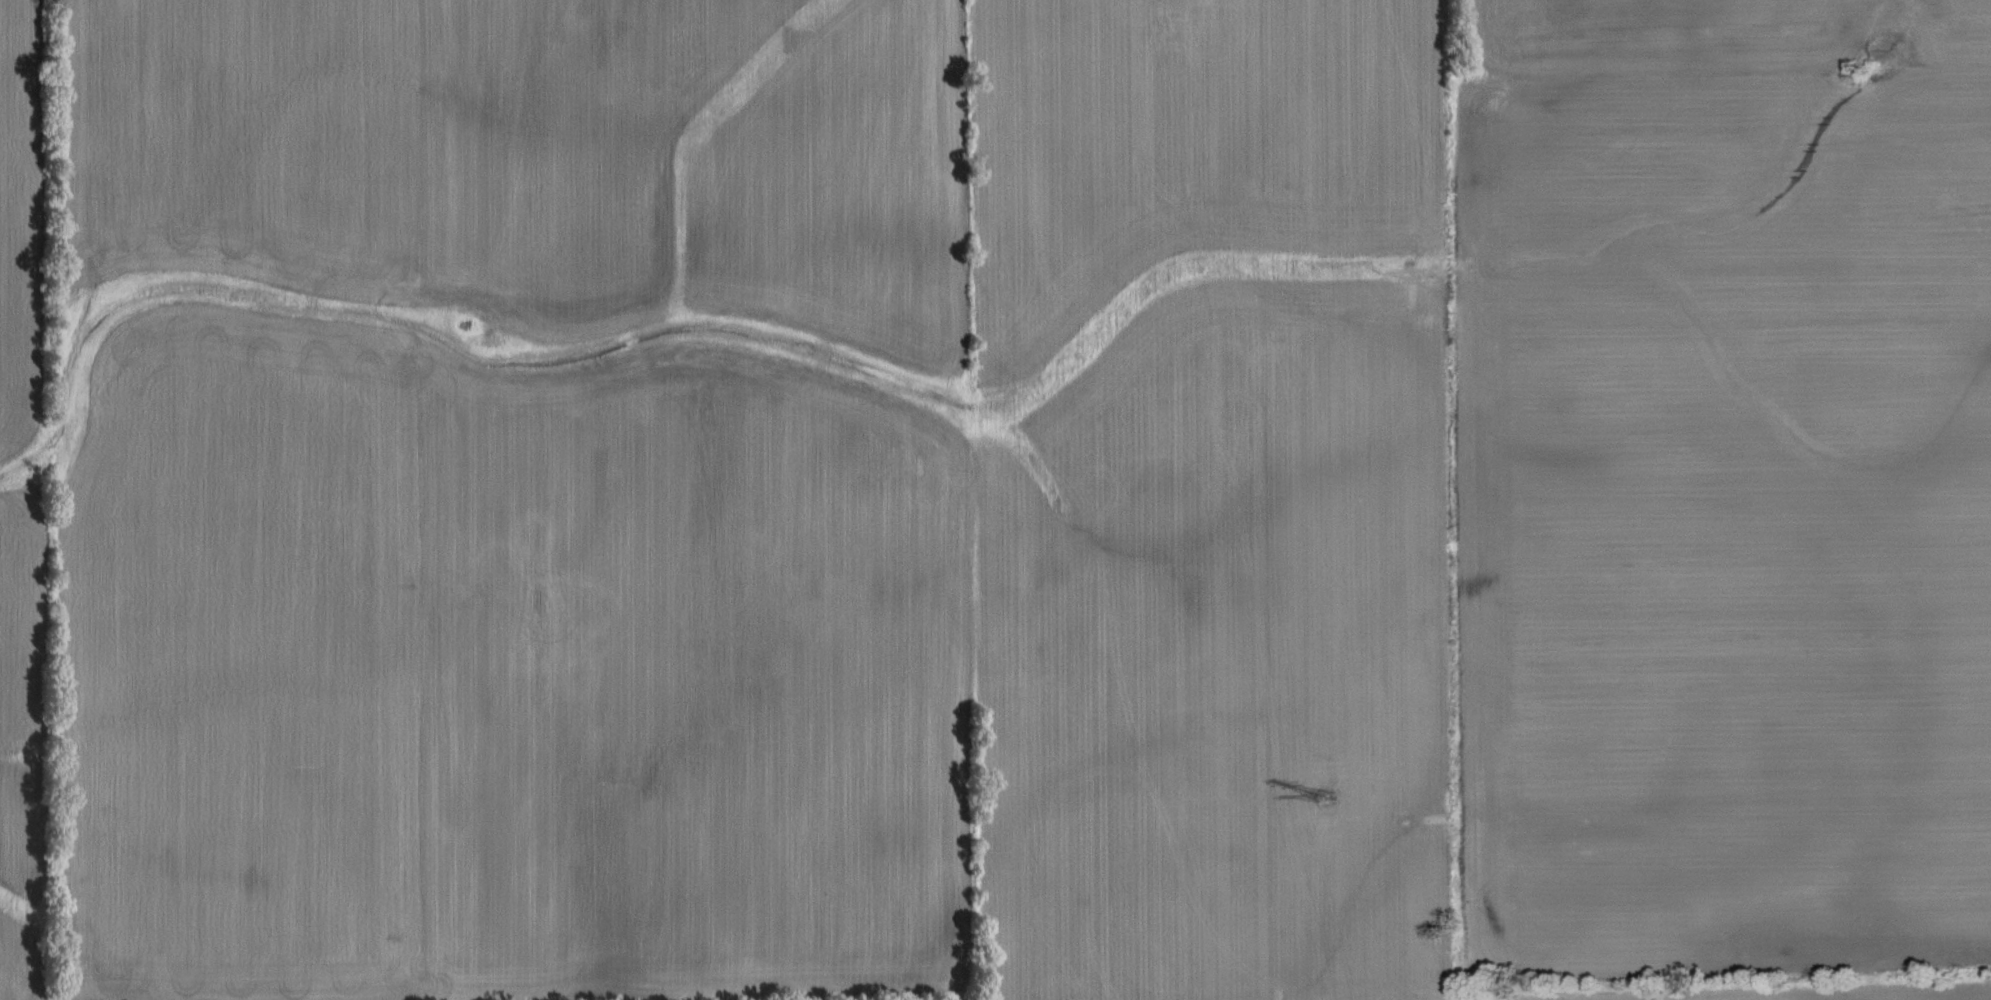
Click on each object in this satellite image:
power tower: (1335, 784)

